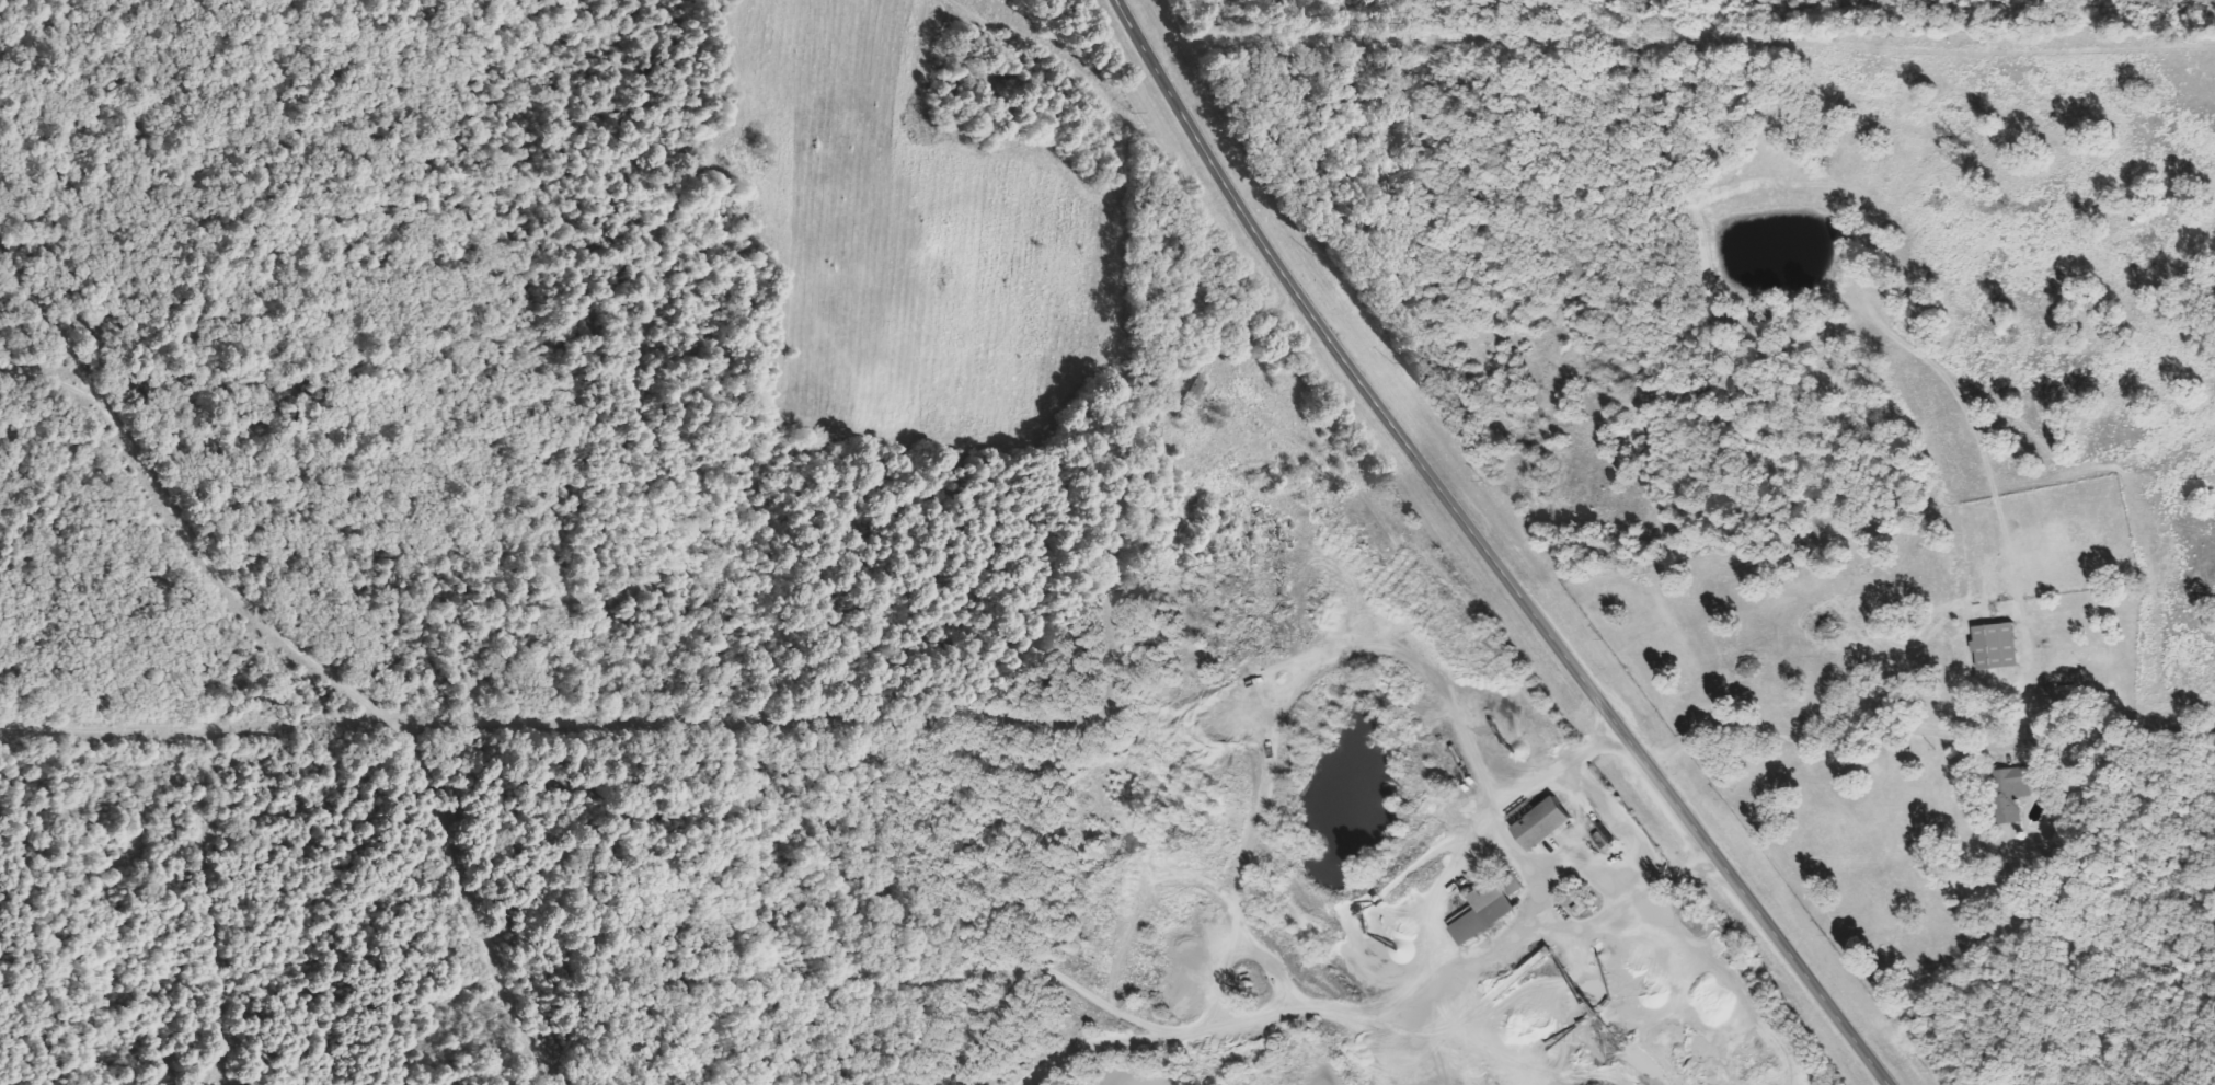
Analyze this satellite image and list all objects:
road: (202, 267)
building: (1191, 400)
road: (1487, 554)
building: (1998, 647)
building: (2015, 792)
building: (1546, 824)

